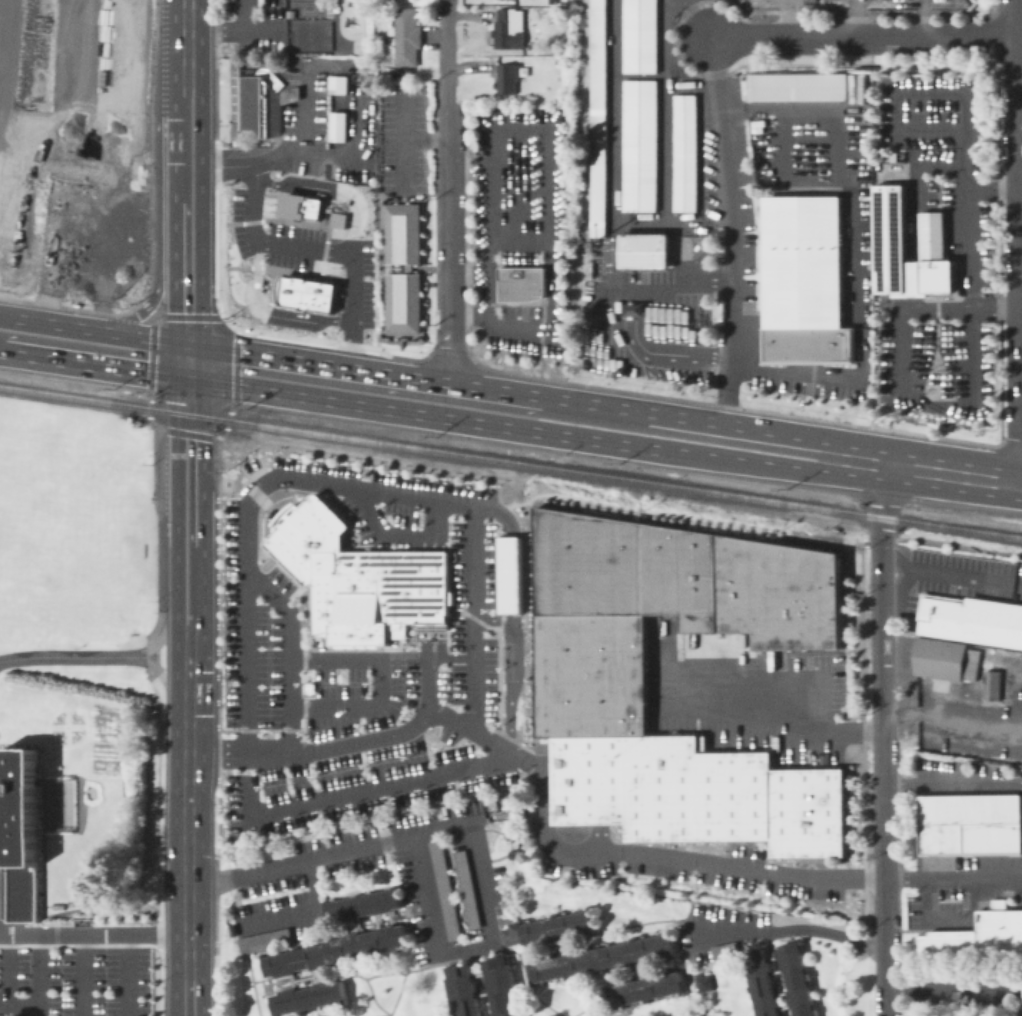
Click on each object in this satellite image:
building: (526, 1)
road: (959, 1)
road: (672, 4)
road: (187, 15)
road: (244, 17)
road: (859, 17)
road: (27, 18)
road: (790, 18)
road: (851, 18)
road: (920, 19)
road: (1016, 19)
building: (511, 29)
road: (209, 30)
road: (260, 31)
park: (308, 34)
building: (640, 36)
building: (408, 37)
road: (865, 38)
road: (44, 39)
road: (1019, 39)
building: (553, 46)
road: (451, 47)
building: (120, 56)
road: (29, 58)
road: (187, 62)
building: (559, 62)
park: (35, 63)
road: (979, 63)
road: (357, 71)
building: (508, 79)
road: (48, 80)
road: (698, 80)
building: (337, 84)
building: (798, 86)
building: (853, 87)
building: (862, 87)
road: (951, 92)
building: (264, 101)
road: (72, 114)
road: (664, 114)
building: (598, 118)
road: (518, 127)
road: (56, 128)
road: (36, 137)
road: (427, 138)
road: (402, 140)
road: (612, 141)
building: (236, 142)
building: (640, 146)
building: (686, 153)
road: (187, 160)
road: (246, 165)
road: (73, 166)
road: (785, 175)
road: (519, 184)
road: (914, 189)
road: (330, 190)
road: (41, 194)
building: (119, 194)
road: (280, 194)
road: (28, 200)
road: (493, 201)
road: (1019, 201)
road: (156, 205)
building: (299, 206)
road: (452, 206)
road: (435, 217)
building: (337, 220)
road: (297, 222)
road: (145, 223)
road: (685, 225)
road: (730, 231)
road: (47, 232)
road: (466, 232)
building: (891, 235)
road: (1020, 242)
road: (970, 247)
road: (323, 249)
road: (856, 250)
building: (645, 251)
road: (487, 252)
road: (685, 254)
parking lot: (307, 255)
road: (1018, 260)
road: (67, 262)
road: (220, 263)
building: (403, 268)
road: (295, 271)
road: (912, 277)
road: (91, 279)
road: (125, 279)
building: (806, 283)
building: (525, 284)
road: (187, 291)
building: (307, 294)
road: (554, 295)
road: (1020, 295)
road: (109, 296)
road: (140, 300)
road: (344, 300)
road: (915, 302)
road: (272, 311)
road: (632, 314)
road: (180, 316)
road: (4, 331)
road: (44, 337)
road: (133, 350)
road: (451, 350)
road: (449, 356)
traffic signals: (188, 358)
road: (319, 365)
road: (898, 375)
road: (497, 391)
road: (315, 397)
road: (735, 407)
road: (714, 424)
road: (188, 432)
road: (1010, 439)
road: (665, 450)
road: (189, 452)
railway: (510, 462)
road: (950, 472)
road: (1020, 482)
road: (342, 485)
road: (494, 509)
road: (396, 536)
road: (433, 541)
road: (189, 570)
building: (509, 574)
road: (513, 575)
road: (951, 577)
building: (358, 578)
road: (432, 586)
road: (881, 595)
building: (968, 620)
road: (514, 625)
road: (165, 636)
road: (432, 638)
road: (189, 653)
road: (60, 657)
building: (944, 658)
road: (515, 670)
road: (162, 675)
road: (764, 678)
road: (289, 681)
road: (378, 681)
building: (991, 685)
building: (591, 692)
road: (216, 695)
road: (1019, 703)
road: (432, 708)
road: (161, 716)
road: (952, 717)
road: (739, 723)
road: (342, 742)
road: (217, 750)
road: (599, 780)
road: (953, 784)
road: (365, 790)
building: (966, 824)
road: (469, 830)
building: (20, 834)
road: (885, 835)
road: (188, 846)
road: (668, 857)
road: (953, 877)
building: (466, 888)
building: (444, 889)
building: (73, 904)
building: (363, 905)
building: (58, 907)
road: (303, 914)
road: (947, 922)
building: (549, 927)
road: (791, 928)
building: (232, 929)
road: (94, 934)
building: (976, 936)
building: (263, 939)
building: (337, 951)
building: (602, 958)
road: (9, 969)
road: (40, 975)
road: (85, 975)
road: (129, 975)
parking lot: (74, 979)
building: (796, 979)
road: (886, 979)
building: (702, 981)
building: (760, 984)
road: (214, 985)
building: (502, 986)
building: (646, 989)
building: (461, 990)
road: (955, 992)
building: (313, 996)
road: (184, 997)
road: (191, 997)
road: (19, 1005)
building: (2, 1015)

